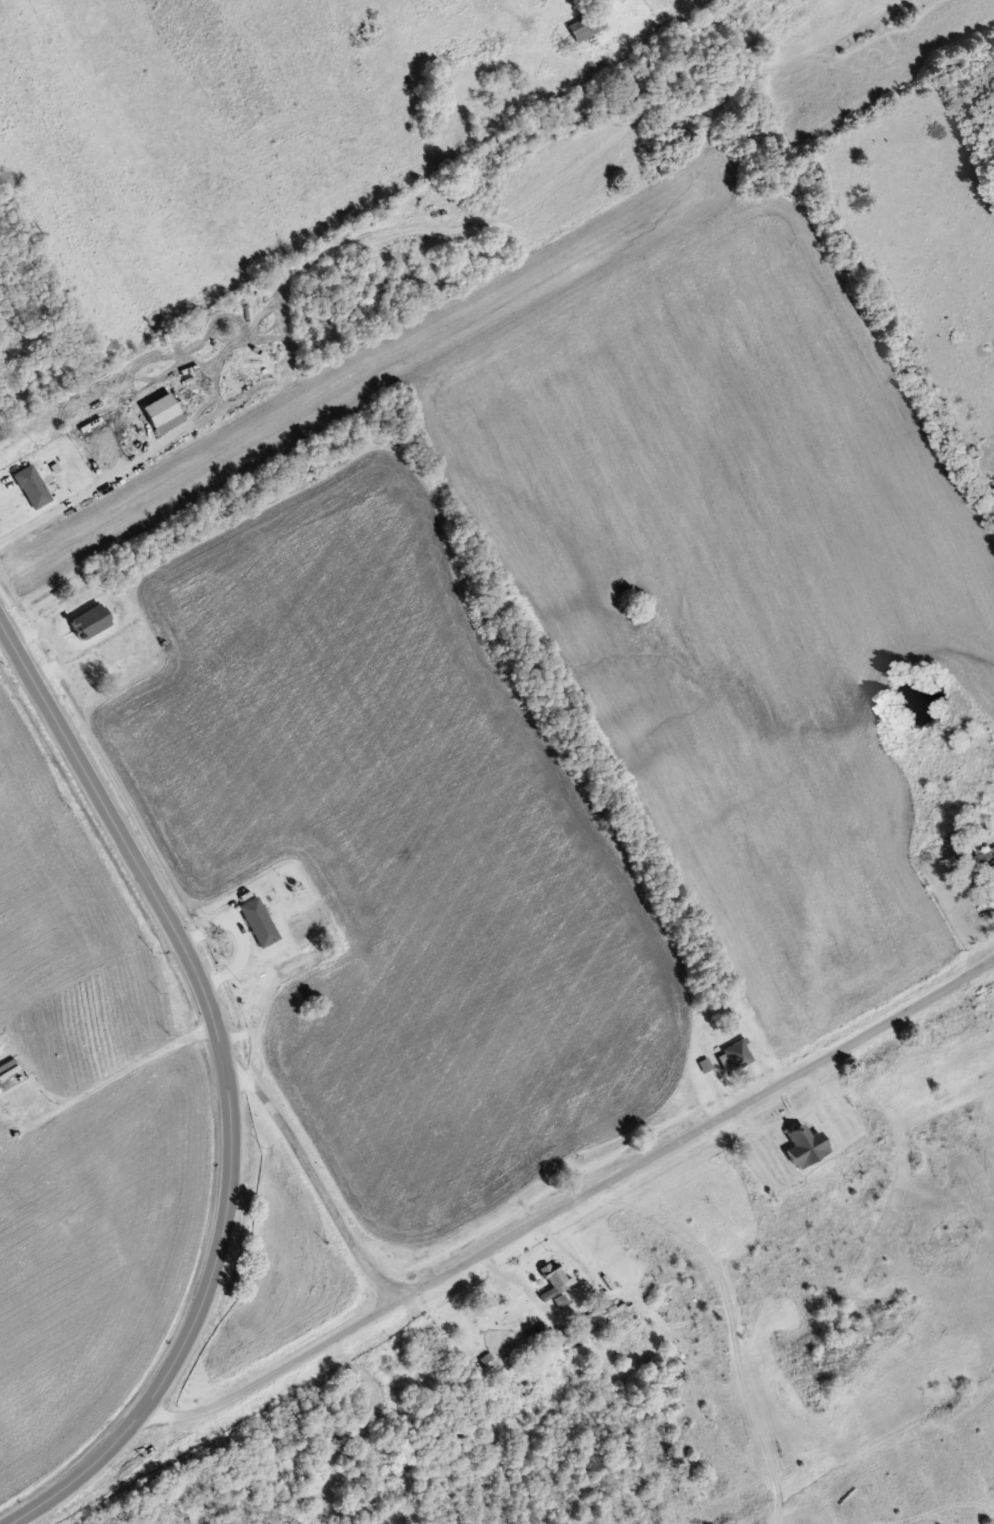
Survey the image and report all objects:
building: (592, 26)
road: (325, 362)
building: (162, 415)
building: (36, 487)
building: (94, 621)
building: (990, 860)
building: (970, 902)
building: (263, 921)
road: (236, 937)
building: (743, 1053)
road: (768, 1064)
building: (706, 1066)
building: (8, 1070)
road: (225, 1080)
building: (811, 1147)
road: (302, 1160)
road: (569, 1201)
building: (558, 1278)
building: (510, 1302)
road: (539, 1303)
building: (561, 1303)
road: (669, 1331)
building: (489, 1364)

